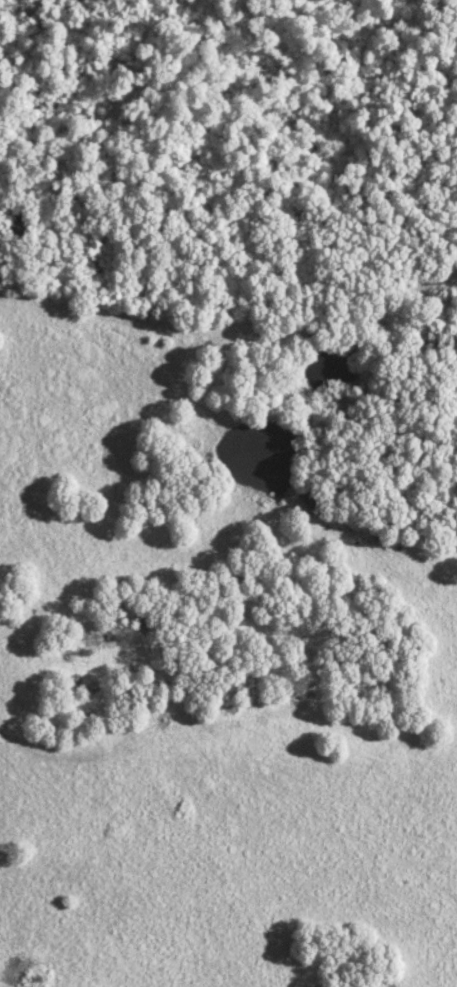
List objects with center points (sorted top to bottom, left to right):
building: (16, 227)

